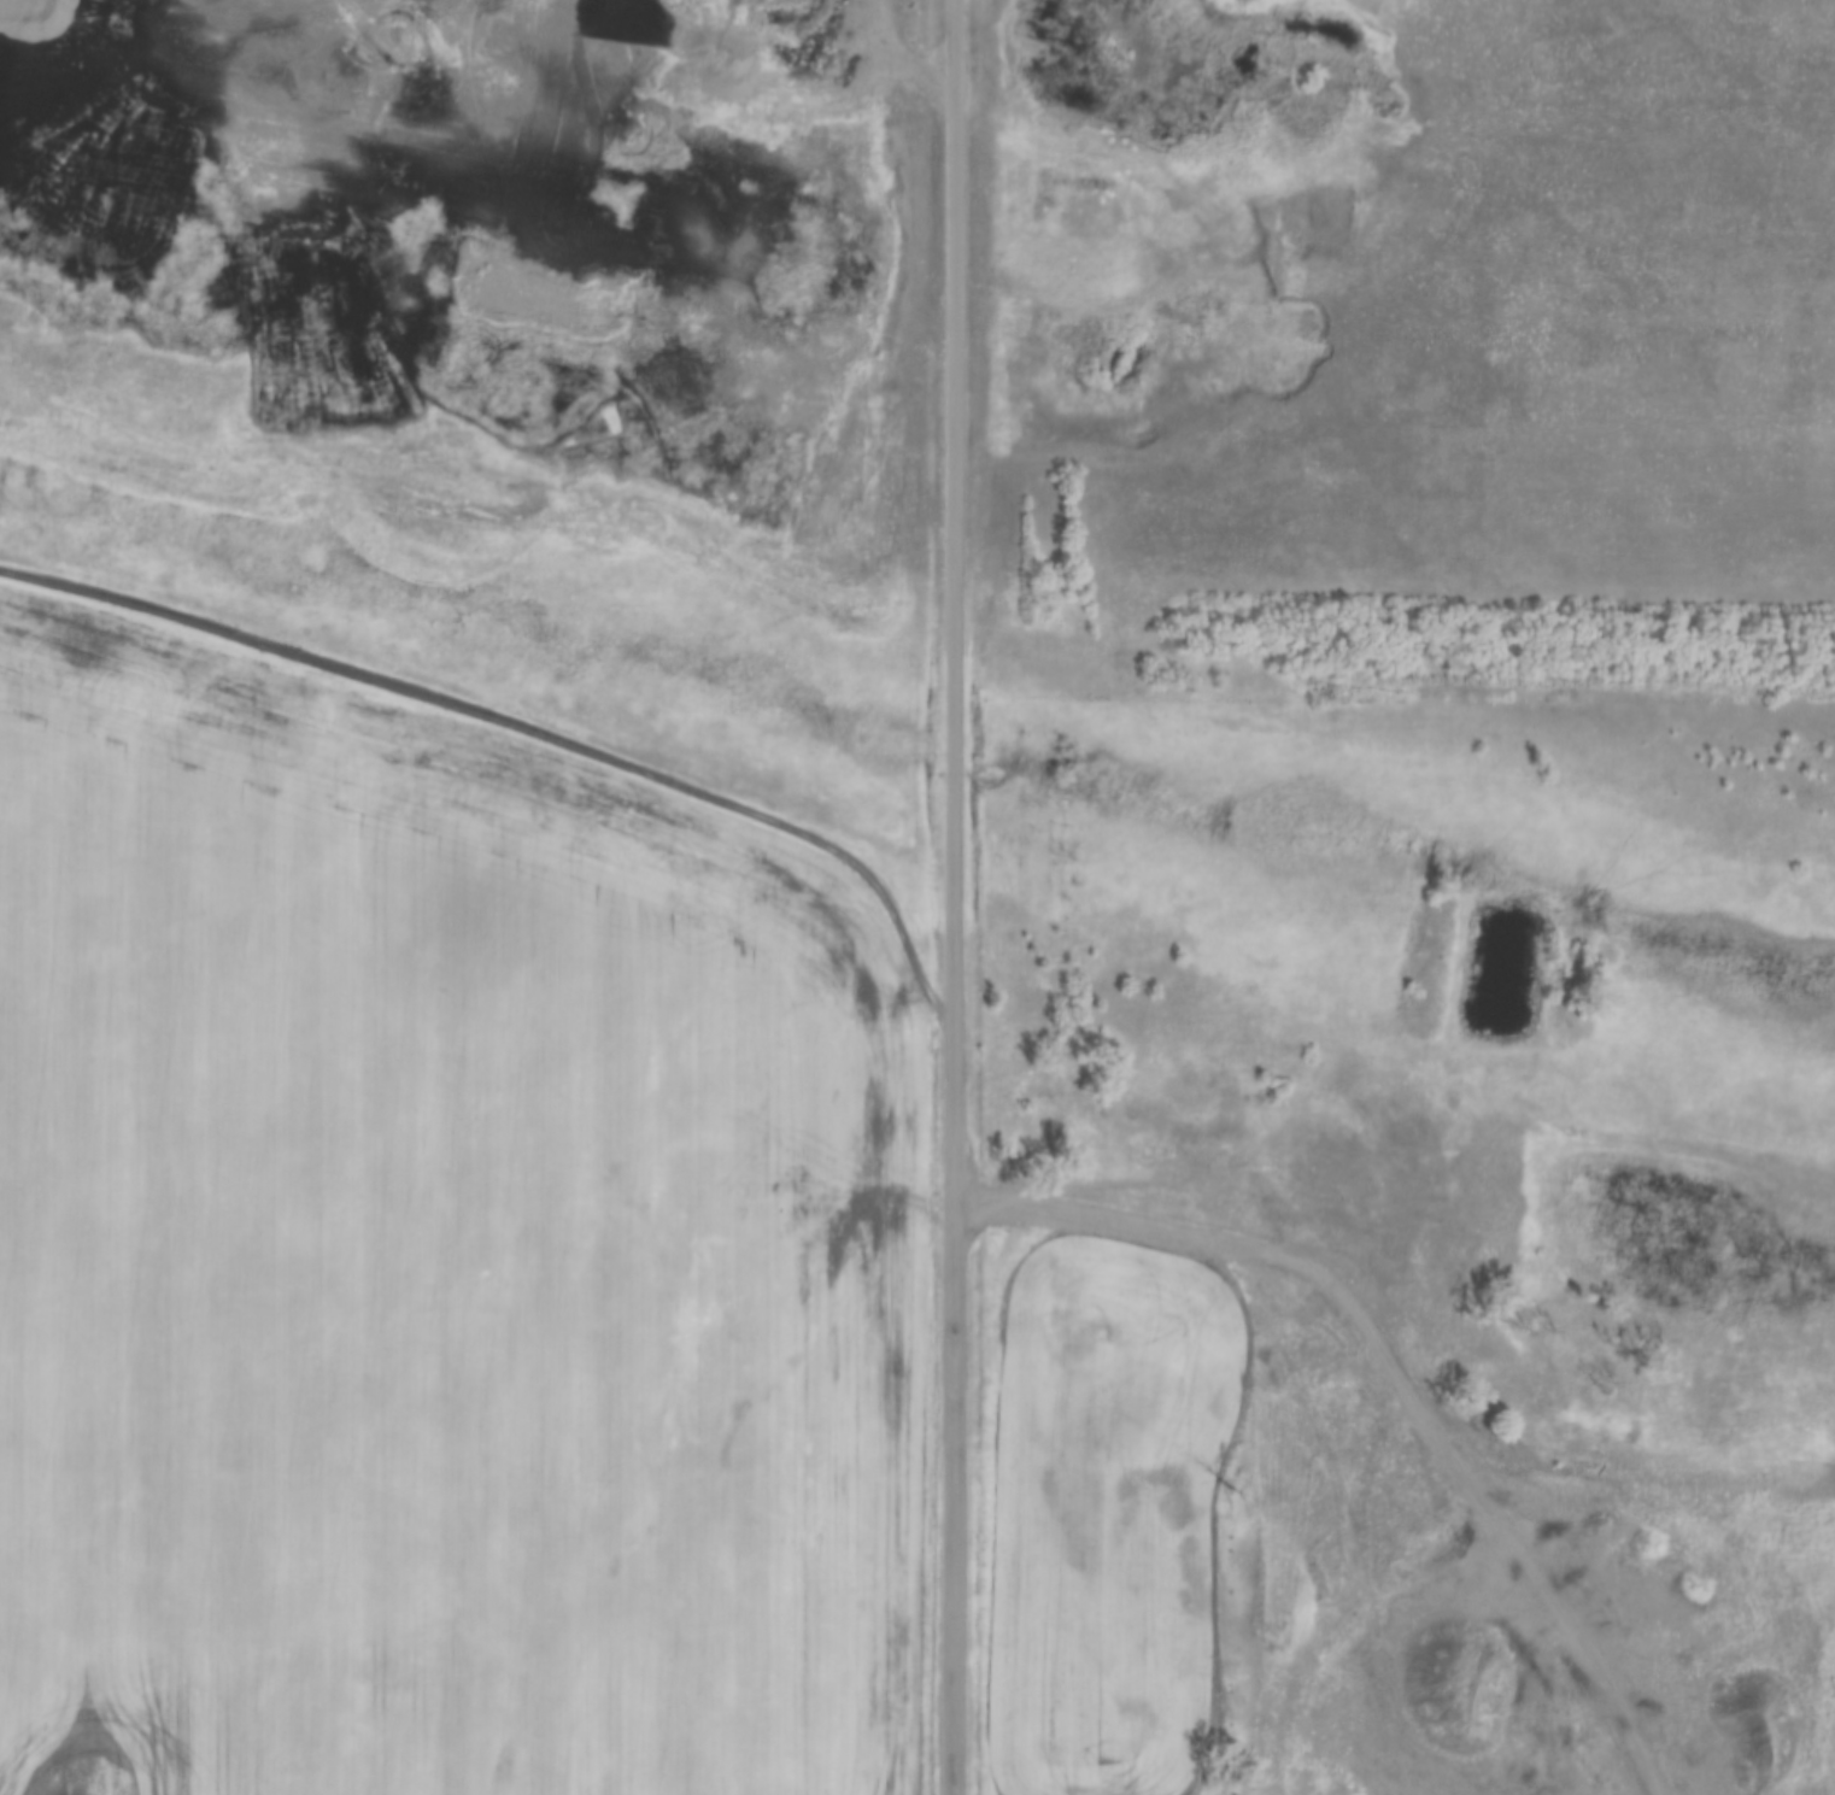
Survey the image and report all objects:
road: (475, 47)
quarry: (502, 241)
road: (952, 897)
road: (1377, 1300)

